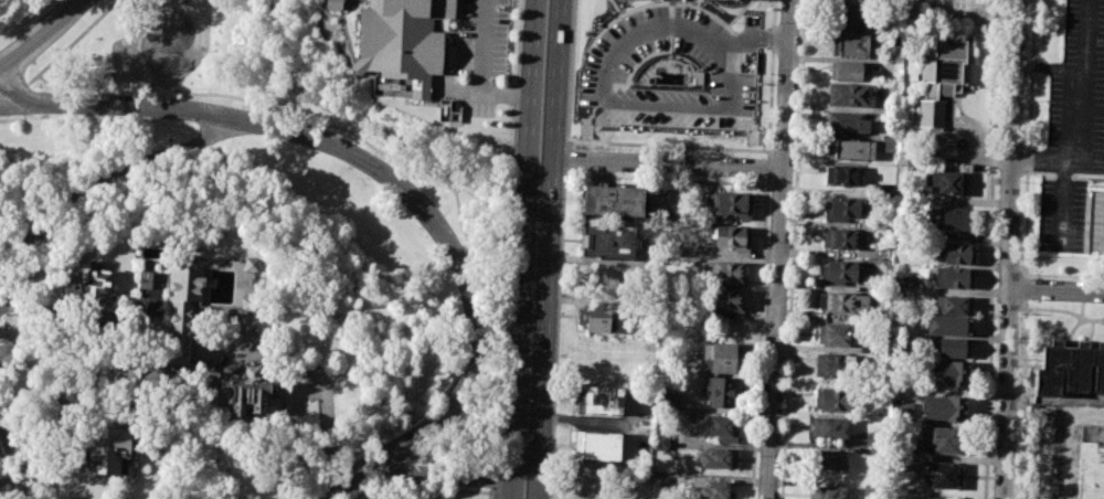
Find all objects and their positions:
road: (153, 0)
building: (715, 1)
building: (332, 4)
road: (150, 7)
street lamp: (498, 8)
building: (851, 15)
road: (144, 18)
road: (60, 21)
road: (148, 30)
road: (641, 30)
road: (138, 34)
parking lot: (480, 38)
road: (7, 39)
building: (403, 40)
building: (852, 42)
road: (66, 49)
street lamp: (51, 50)
road: (17, 54)
road: (140, 57)
road: (24, 61)
road: (1050, 66)
building: (847, 71)
road: (480, 73)
building: (944, 74)
street lamp: (491, 79)
road: (1084, 82)
street lamp: (33, 88)
street lamp: (132, 92)
road: (459, 94)
road: (14, 95)
building: (849, 95)
road: (725, 102)
street lamp: (242, 105)
road: (3, 109)
building: (448, 110)
building: (847, 123)
parking lot: (1074, 130)
street lamp: (339, 132)
road: (1027, 138)
building: (849, 149)
road: (401, 157)
road: (670, 163)
road: (1057, 163)
park: (282, 170)
building: (847, 176)
road: (104, 178)
road: (392, 181)
road: (46, 182)
building: (948, 182)
street lamp: (420, 187)
road: (461, 188)
street lamp: (538, 198)
building: (614, 202)
building: (734, 204)
road: (1063, 208)
building: (841, 209)
building: (960, 219)
building: (1096, 223)
road: (511, 233)
building: (733, 237)
building: (842, 238)
building: (611, 241)
road: (779, 248)
road: (793, 248)
road: (991, 248)
road: (1009, 248)
road: (524, 250)
road: (552, 250)
building: (956, 254)
road: (729, 256)
street lamp: (471, 263)
building: (250, 264)
building: (729, 273)
building: (841, 273)
building: (954, 277)
building: (87, 280)
building: (149, 280)
building: (901, 280)
road: (1026, 289)
road: (1055, 291)
building: (728, 300)
building: (247, 304)
building: (847, 304)
building: (953, 305)
building: (182, 308)
road: (79, 309)
building: (597, 317)
building: (948, 326)
building: (837, 335)
building: (953, 348)
street lamp: (486, 351)
building: (718, 358)
building: (835, 365)
road: (314, 369)
building: (1069, 370)
building: (948, 373)
building: (141, 376)
building: (246, 391)
building: (720, 391)
building: (666, 397)
street lamp: (528, 400)
building: (598, 400)
building: (836, 400)
road: (1025, 400)
building: (943, 407)
building: (719, 427)
building: (830, 427)
street lamp: (440, 435)
road: (1055, 436)
road: (24, 439)
building: (946, 439)
building: (596, 446)
building: (108, 449)
road: (15, 453)
building: (716, 458)
road: (957, 458)
building: (830, 459)
street lamp: (406, 461)
building: (1093, 461)
street lamp: (487, 466)
building: (944, 475)
road: (8, 476)
road: (437, 476)
road: (491, 476)
road: (309, 480)
building: (659, 480)
road: (338, 485)
road: (415, 488)
building: (715, 491)
road: (488, 492)
building: (587, 492)
building: (827, 492)
building: (447, 498)
building: (934, 498)

